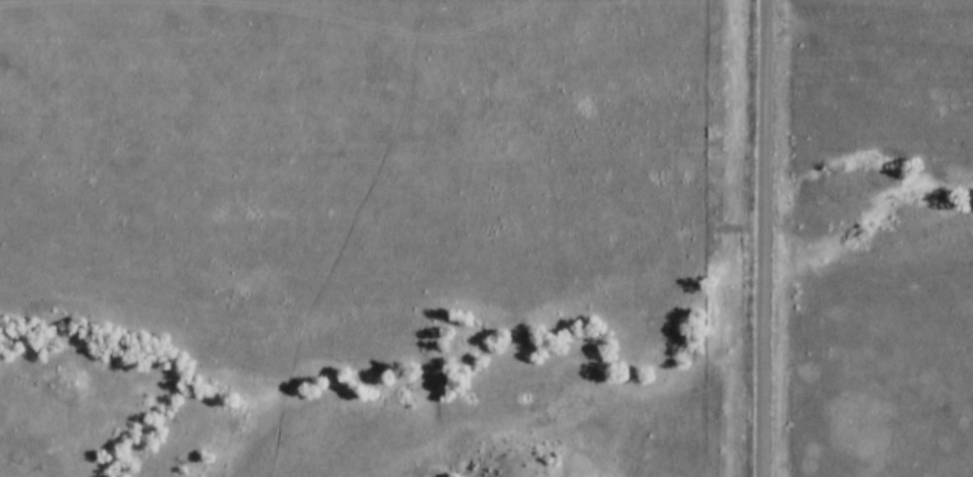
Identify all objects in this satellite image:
road: (869, 39)
road: (762, 238)

